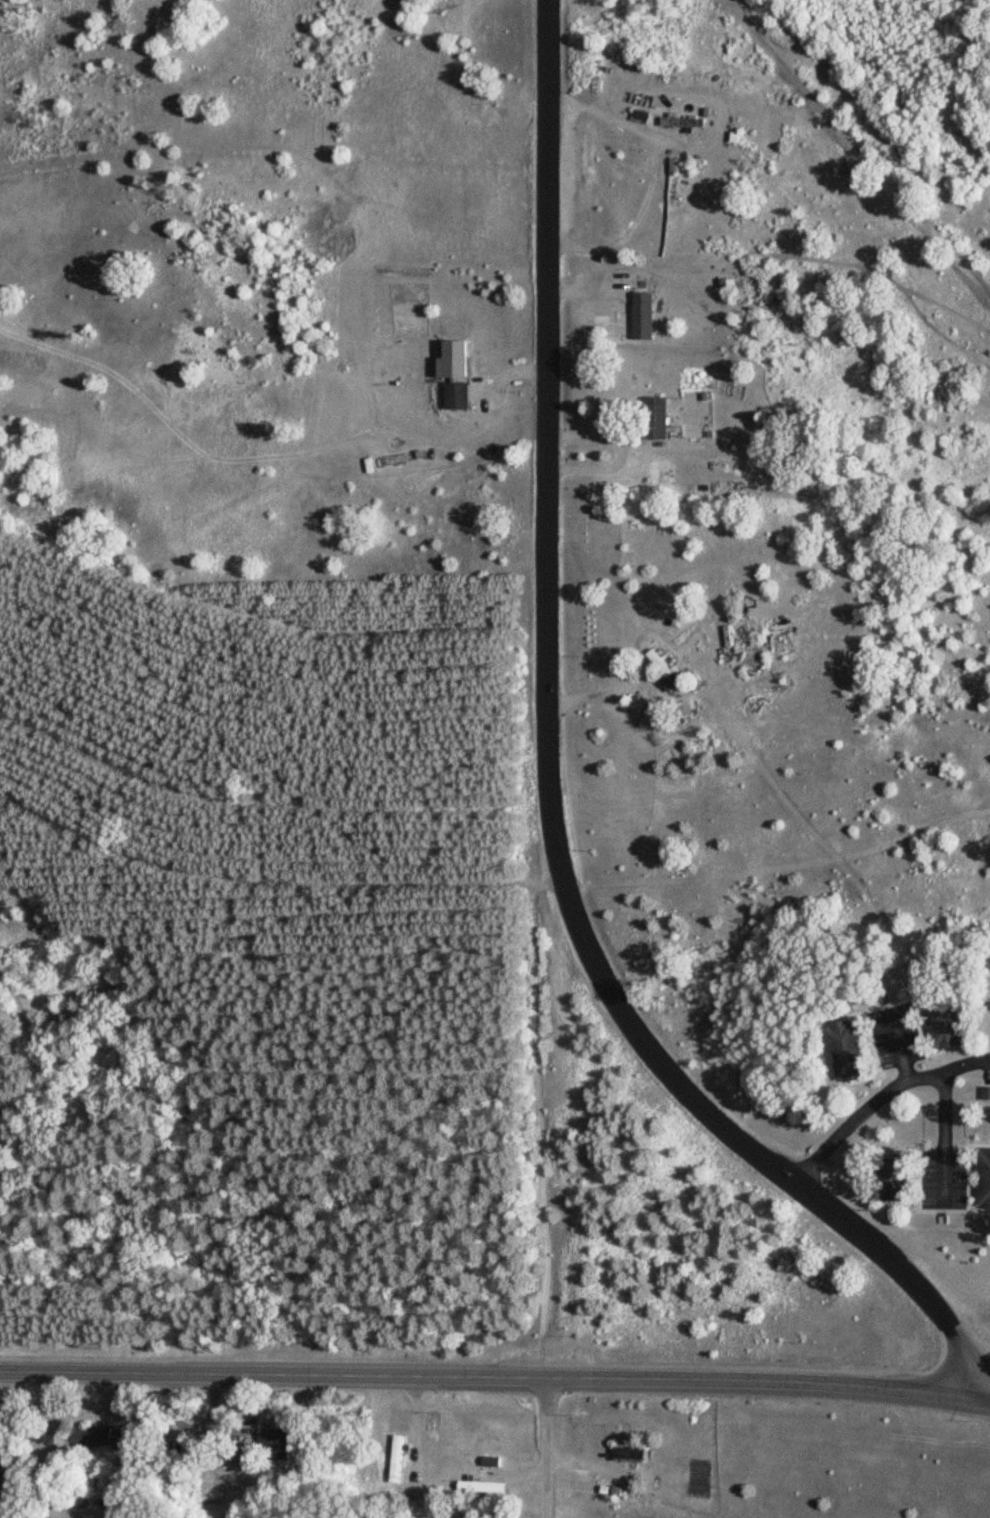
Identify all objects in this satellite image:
building: (683, 121)
road: (855, 146)
building: (642, 316)
building: (457, 375)
building: (654, 418)
building: (664, 668)
road: (548, 782)
building: (944, 1022)
building: (847, 1050)
road: (876, 1097)
building: (893, 1176)
building: (984, 1177)
road: (495, 1374)
building: (99, 1439)
building: (279, 1444)
road: (546, 1446)
building: (627, 1454)
building: (242, 1455)
building: (396, 1458)
building: (1, 1459)
building: (481, 1487)

